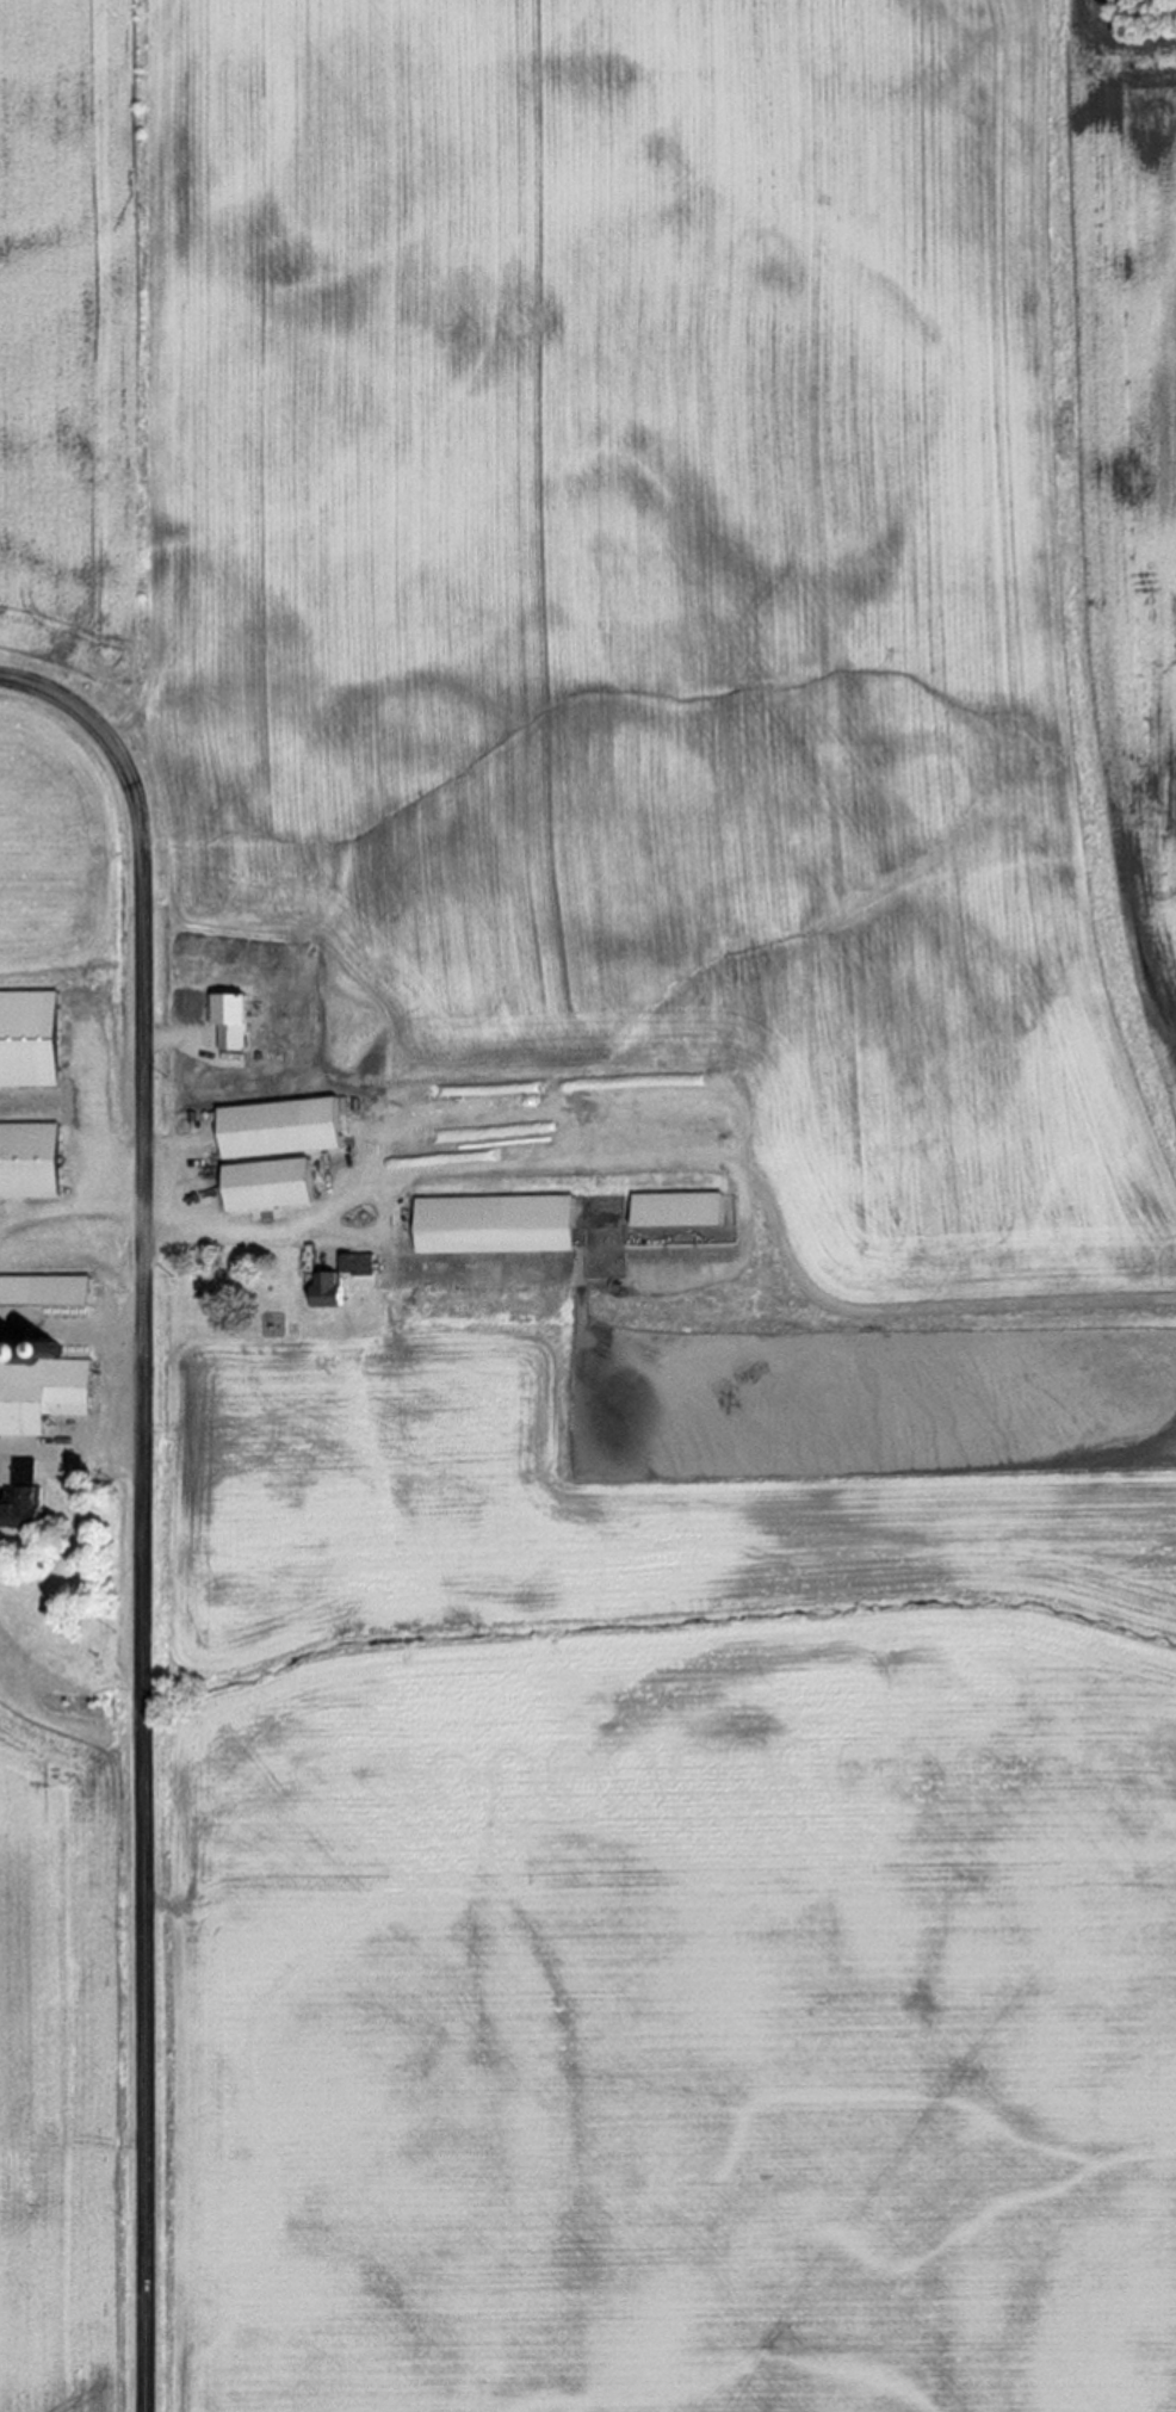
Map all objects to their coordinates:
road: (142, 854)
building: (222, 1025)
building: (31, 1039)
building: (274, 1130)
building: (29, 1161)
building: (264, 1186)
road: (80, 1208)
building: (674, 1211)
road: (224, 1233)
building: (42, 1291)
building: (324, 1291)
building: (38, 1393)
road: (85, 1449)
building: (19, 1509)
road: (146, 1758)

